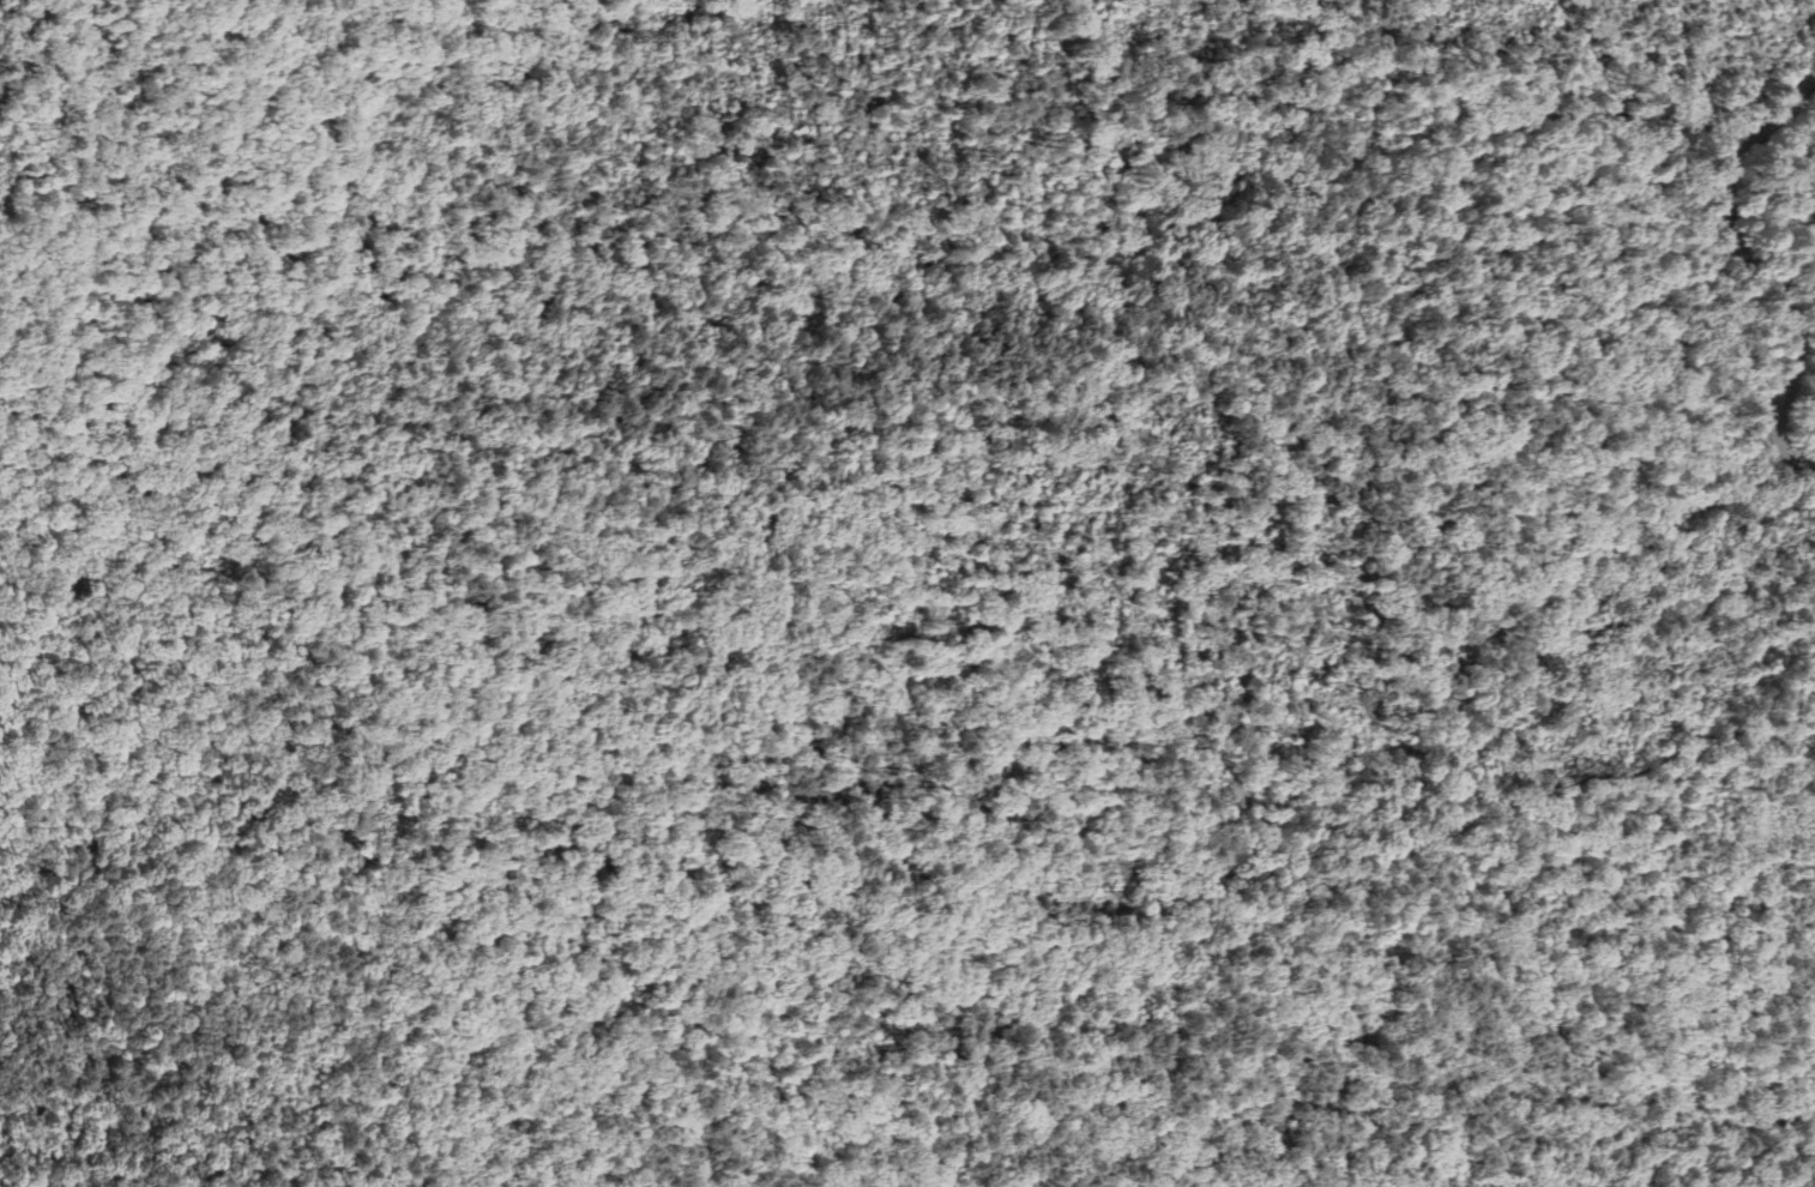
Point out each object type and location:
road: (1760, 281)

